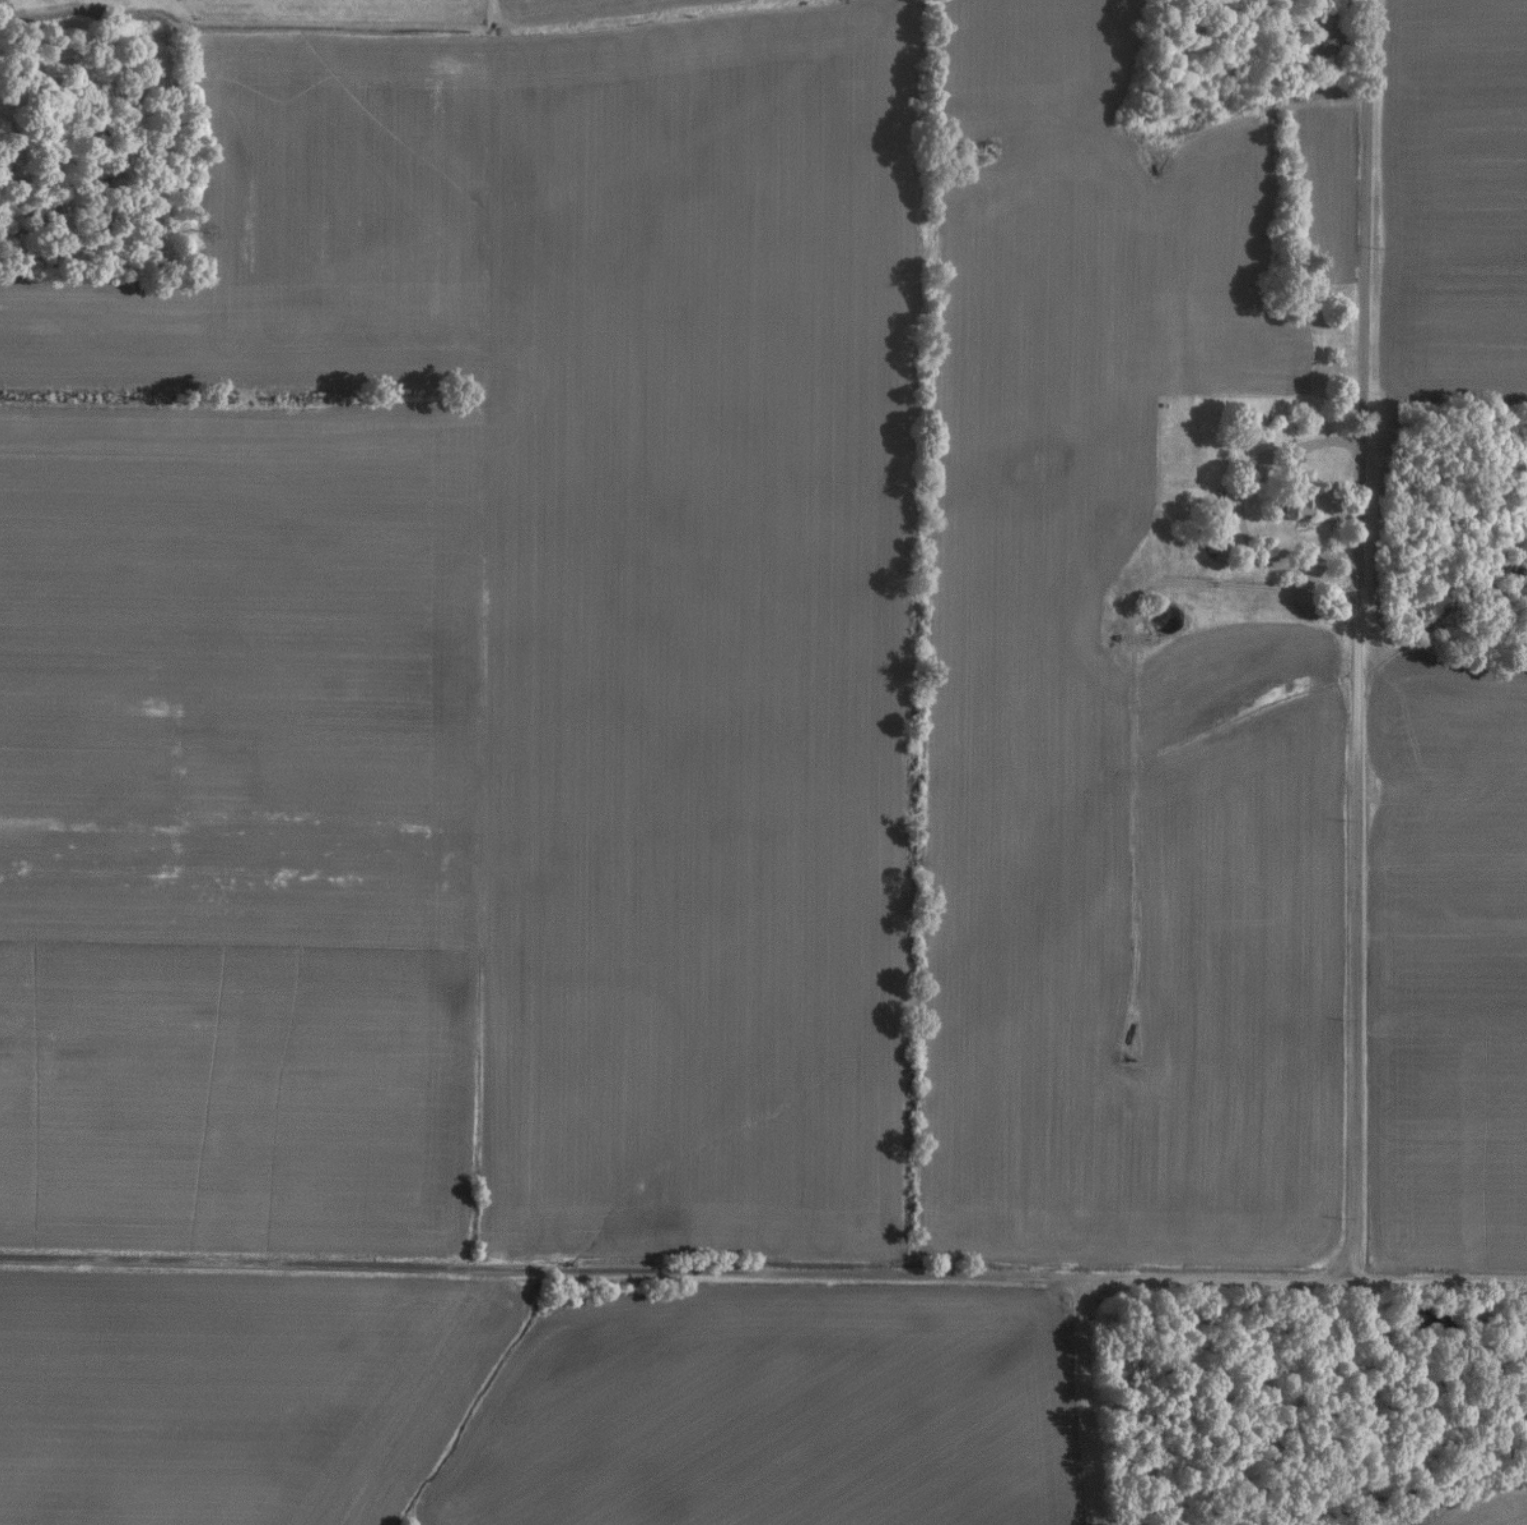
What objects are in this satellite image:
road: (1240, 507)
road: (1359, 640)
road: (544, 1269)
road: (1308, 1280)
road: (1092, 1402)

